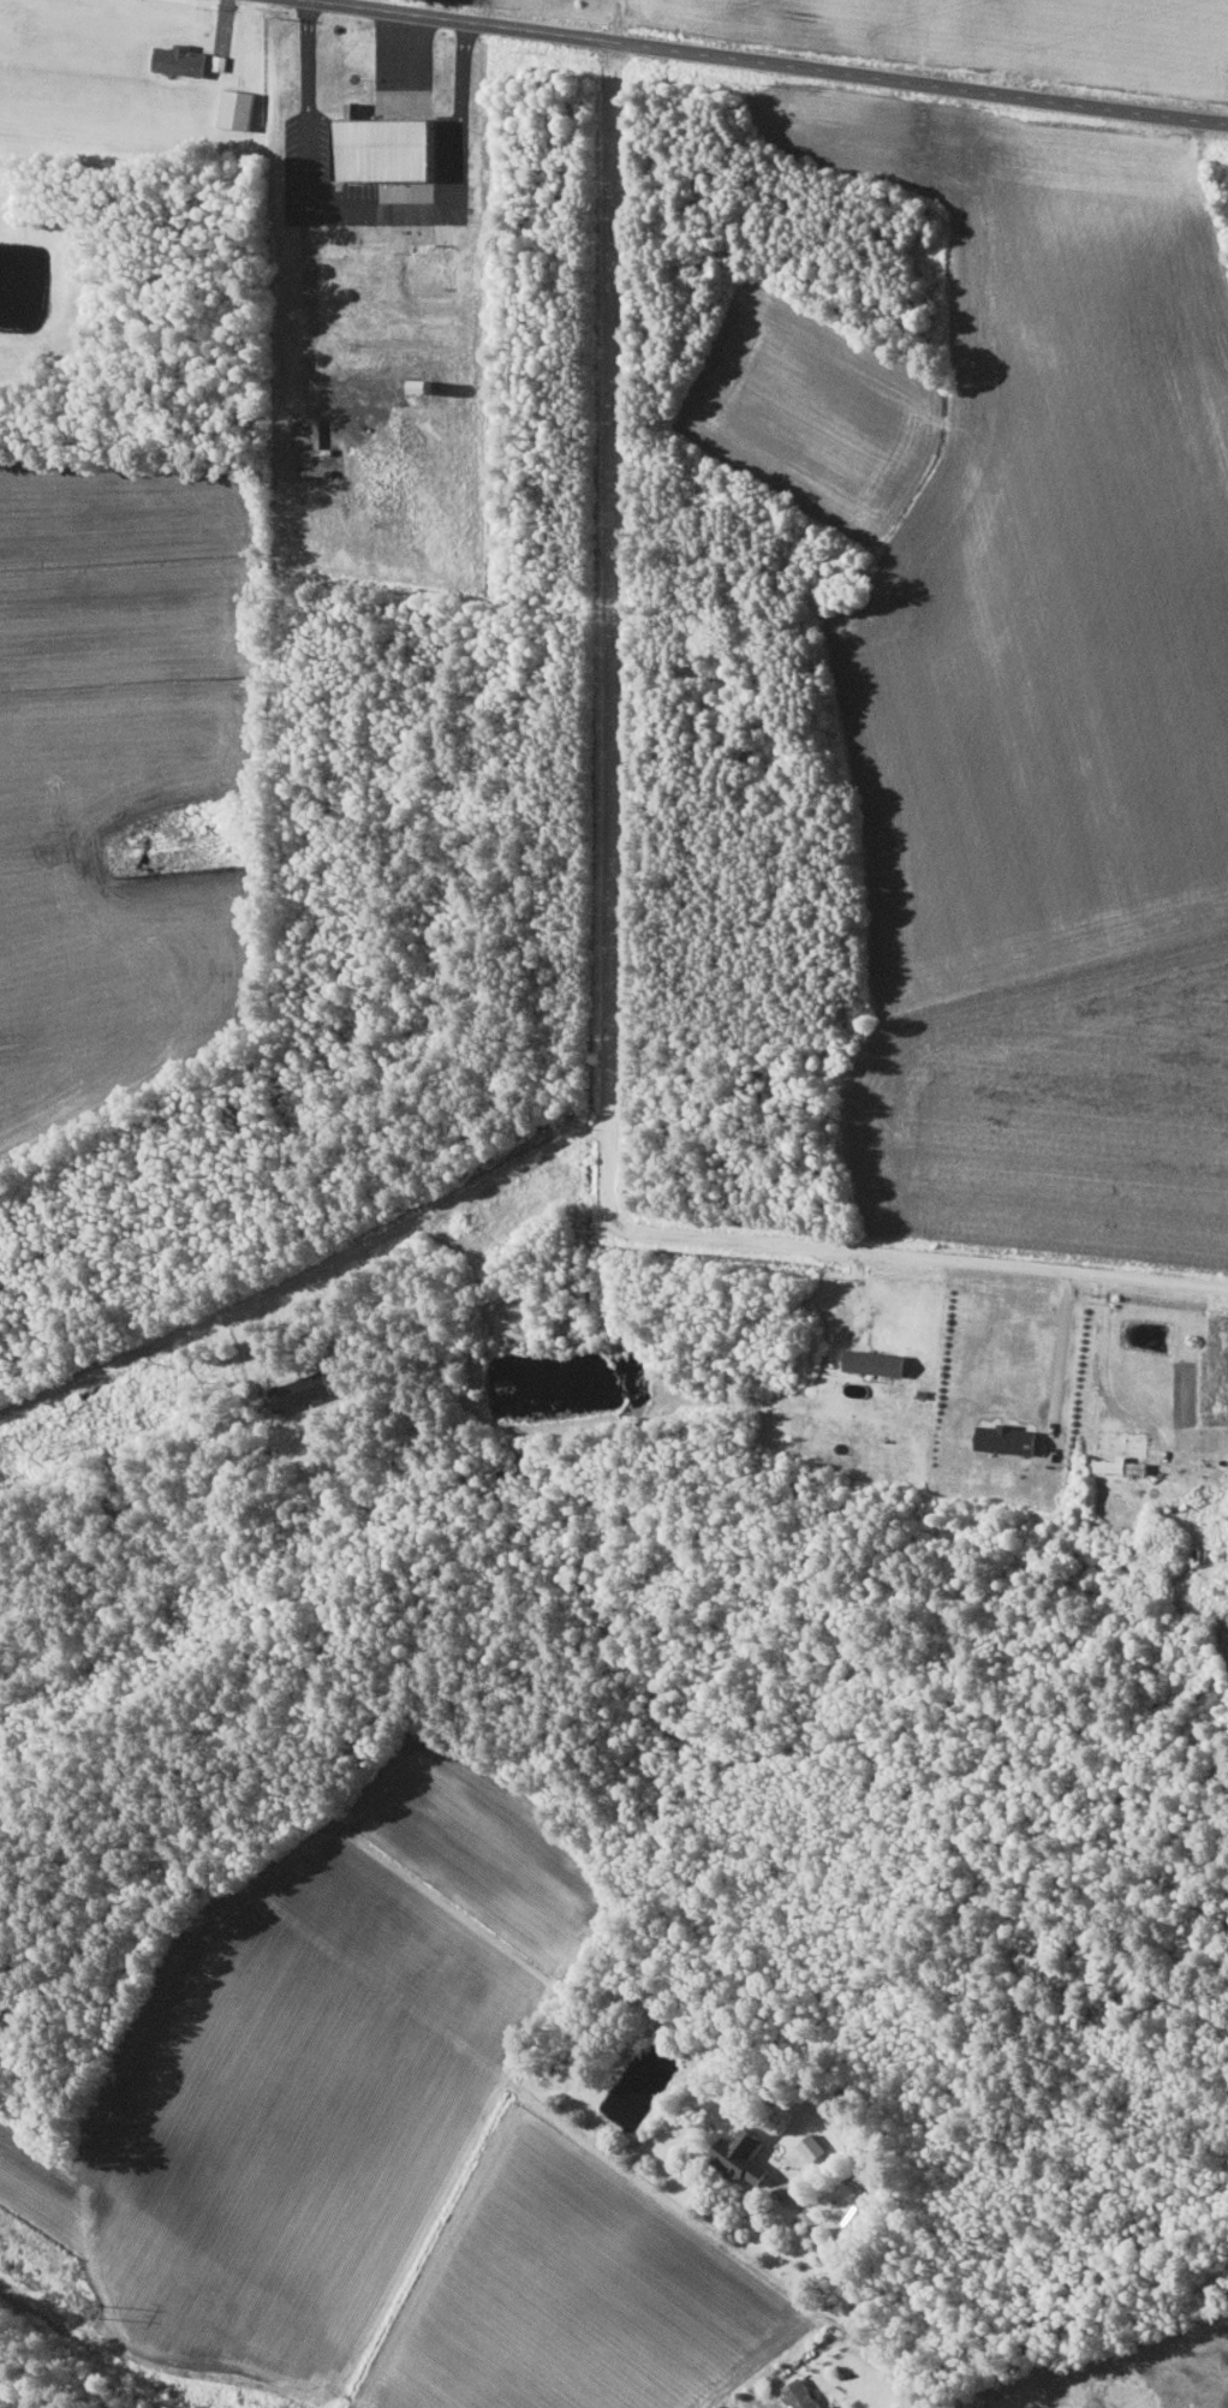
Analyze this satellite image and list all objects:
road: (404, 52)
road: (761, 58)
building: (181, 59)
building: (220, 61)
building: (238, 108)
building: (354, 108)
building: (387, 149)
road: (372, 205)
building: (425, 387)
road: (602, 941)
road: (302, 1275)
building: (876, 1361)
building: (300, 1389)
building: (1008, 1438)
building: (1121, 1465)
building: (741, 2156)
road: (833, 2267)
power tower: (102, 2307)
road: (902, 2373)
building: (800, 2394)

